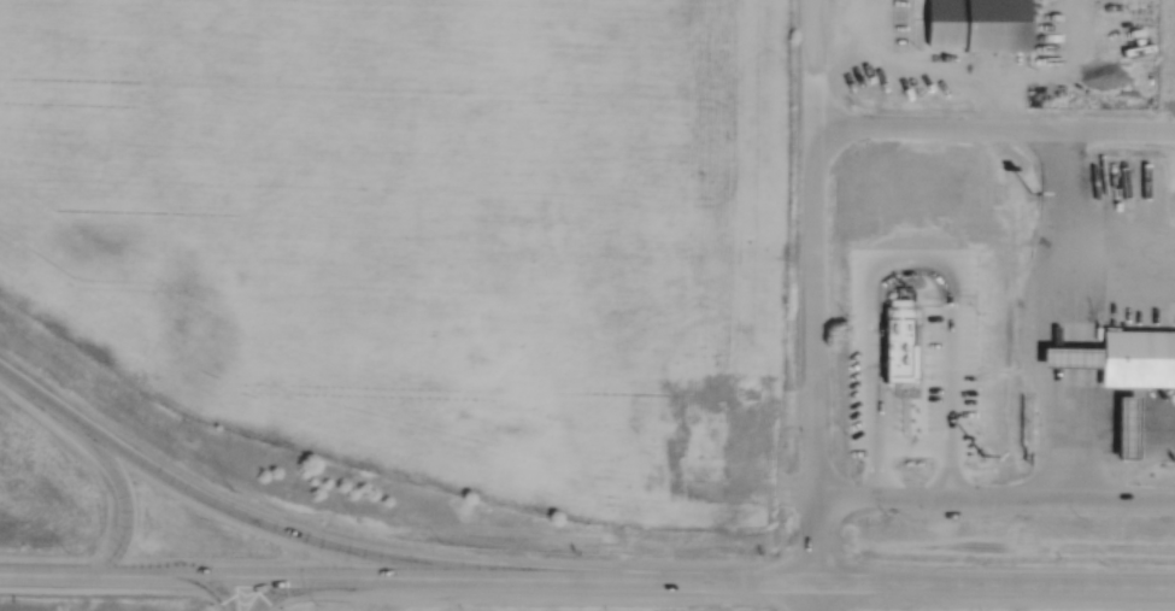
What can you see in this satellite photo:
building: (971, 22)
road: (818, 35)
building: (1145, 90)
building: (1124, 93)
road: (997, 127)
road: (815, 324)
building: (892, 336)
road: (953, 339)
building: (1134, 352)
road: (873, 374)
building: (719, 433)
road: (105, 450)
road: (993, 495)
road: (243, 516)
road: (123, 574)
road: (710, 578)
road: (243, 593)
road: (812, 595)

